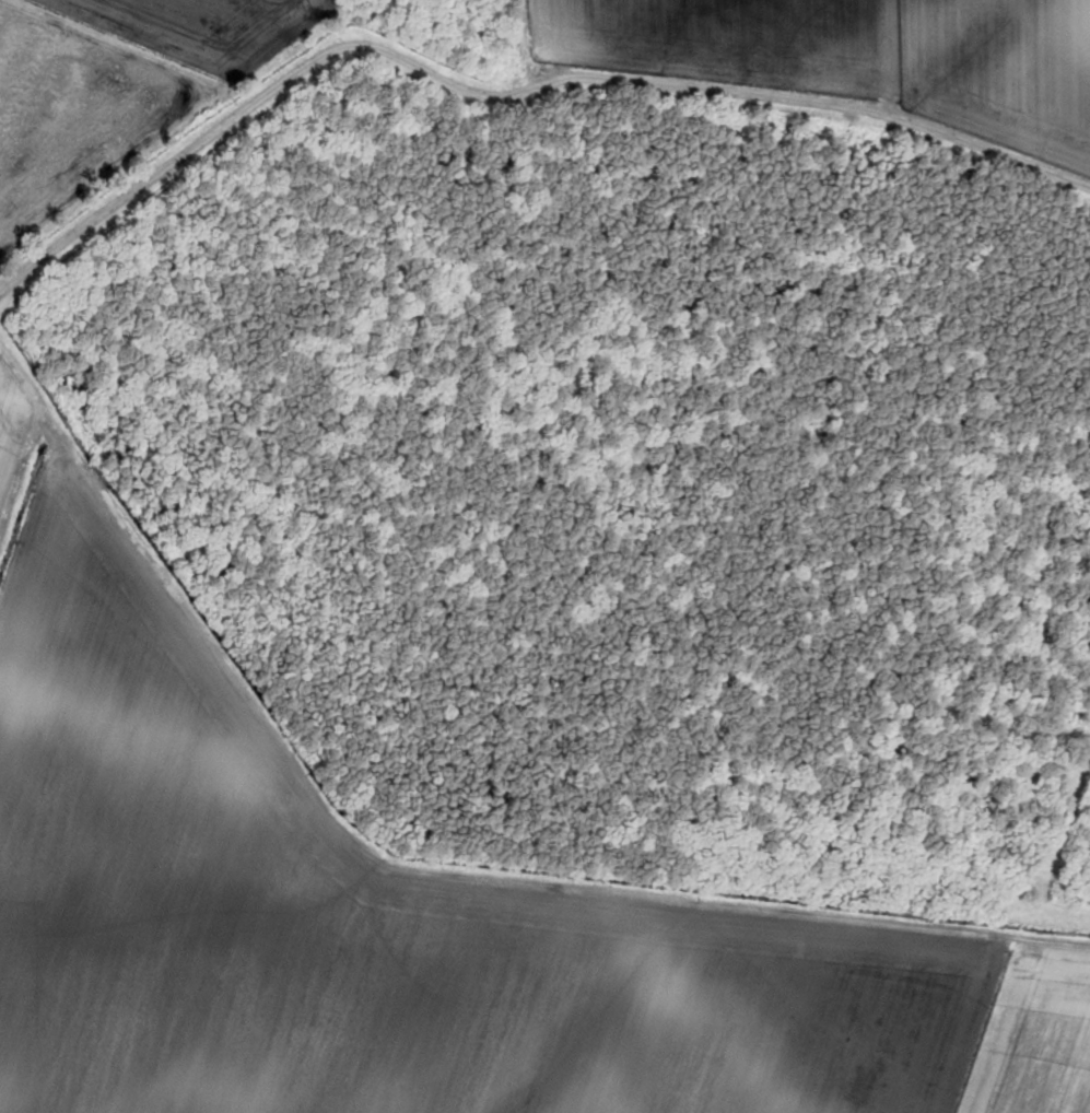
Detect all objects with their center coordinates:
road: (774, 119)

